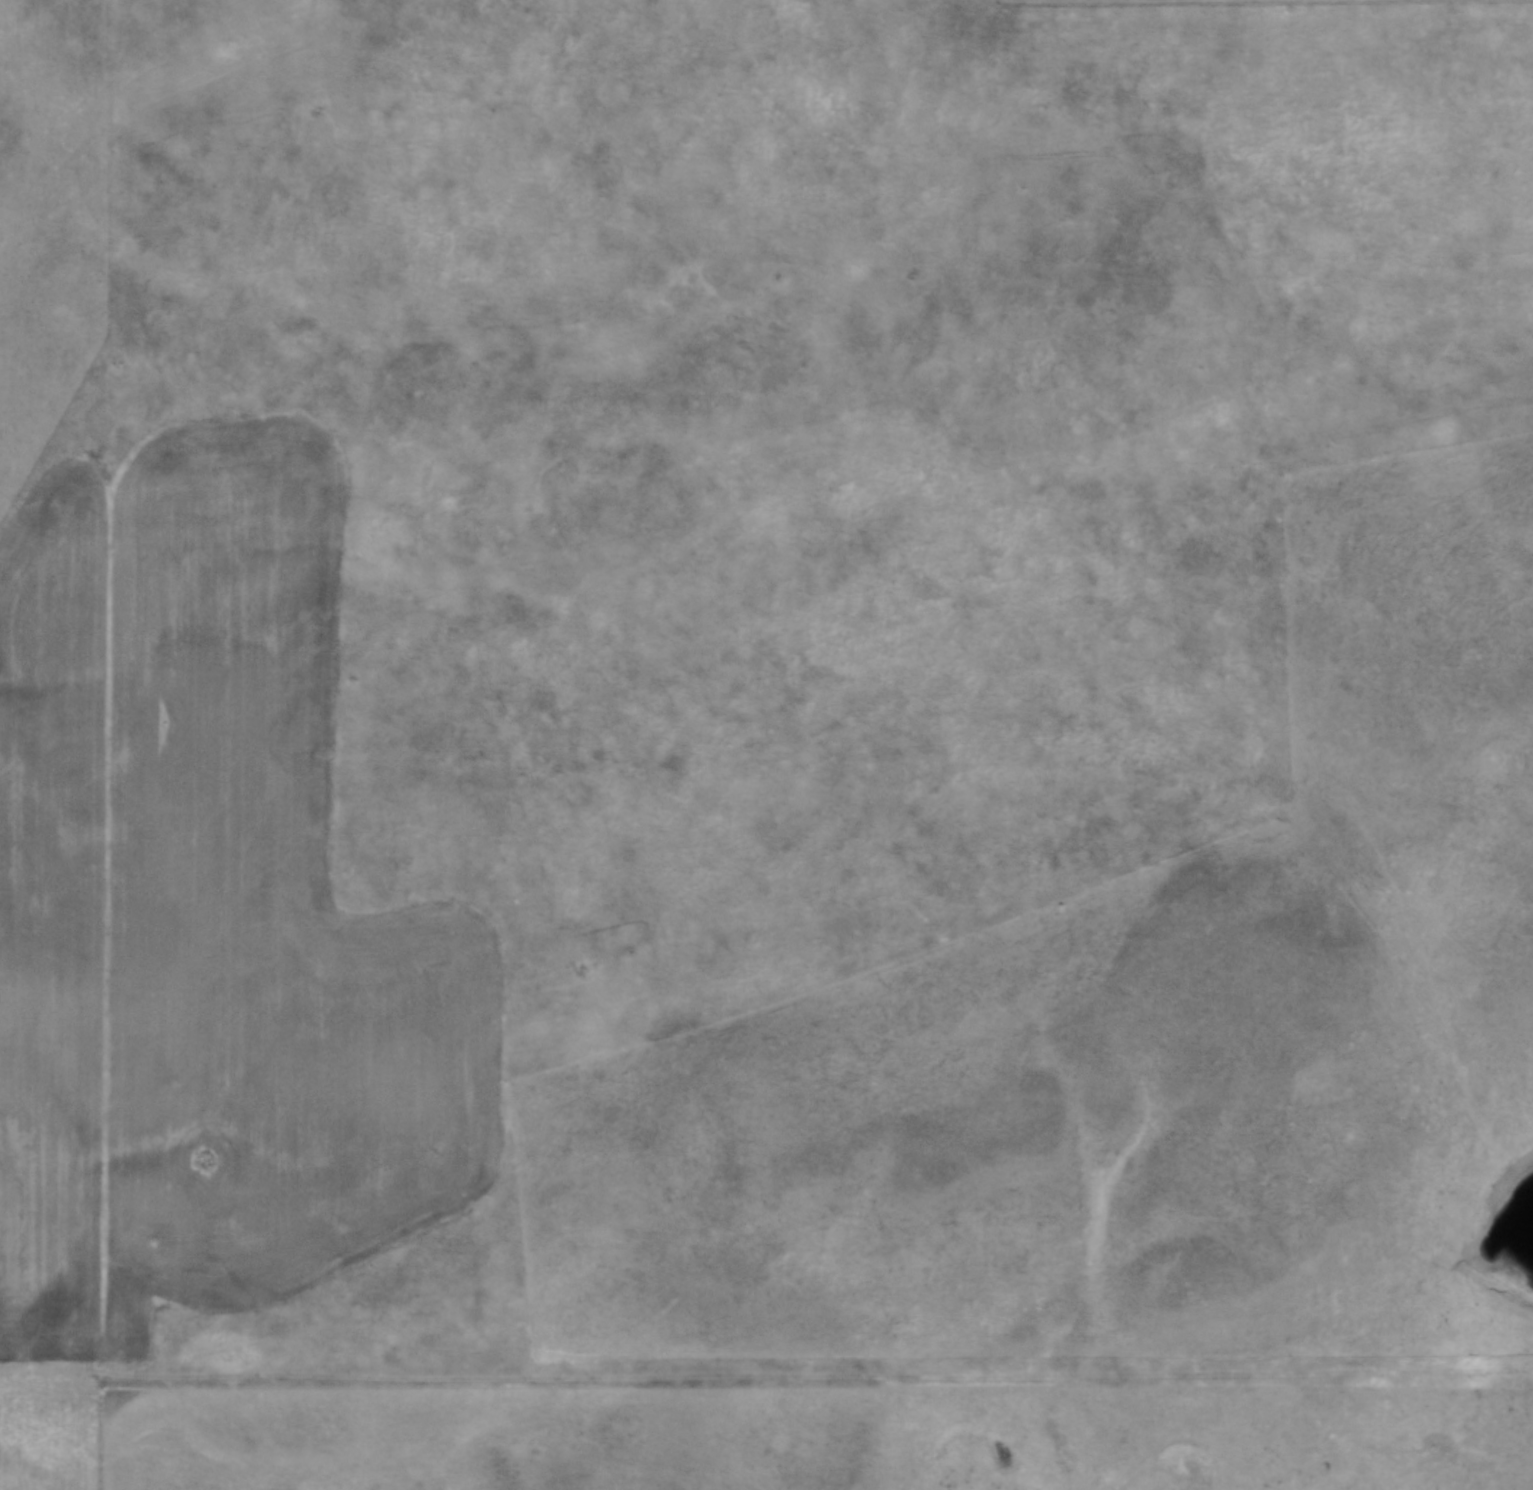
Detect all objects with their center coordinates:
road: (766, 1369)

